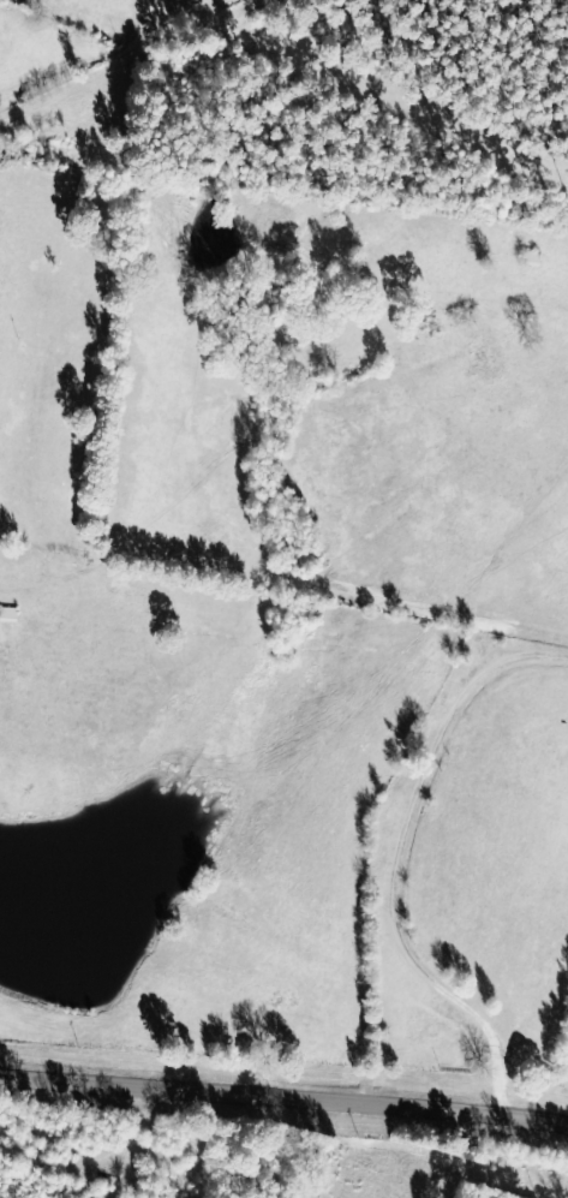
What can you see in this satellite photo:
road: (283, 1095)

